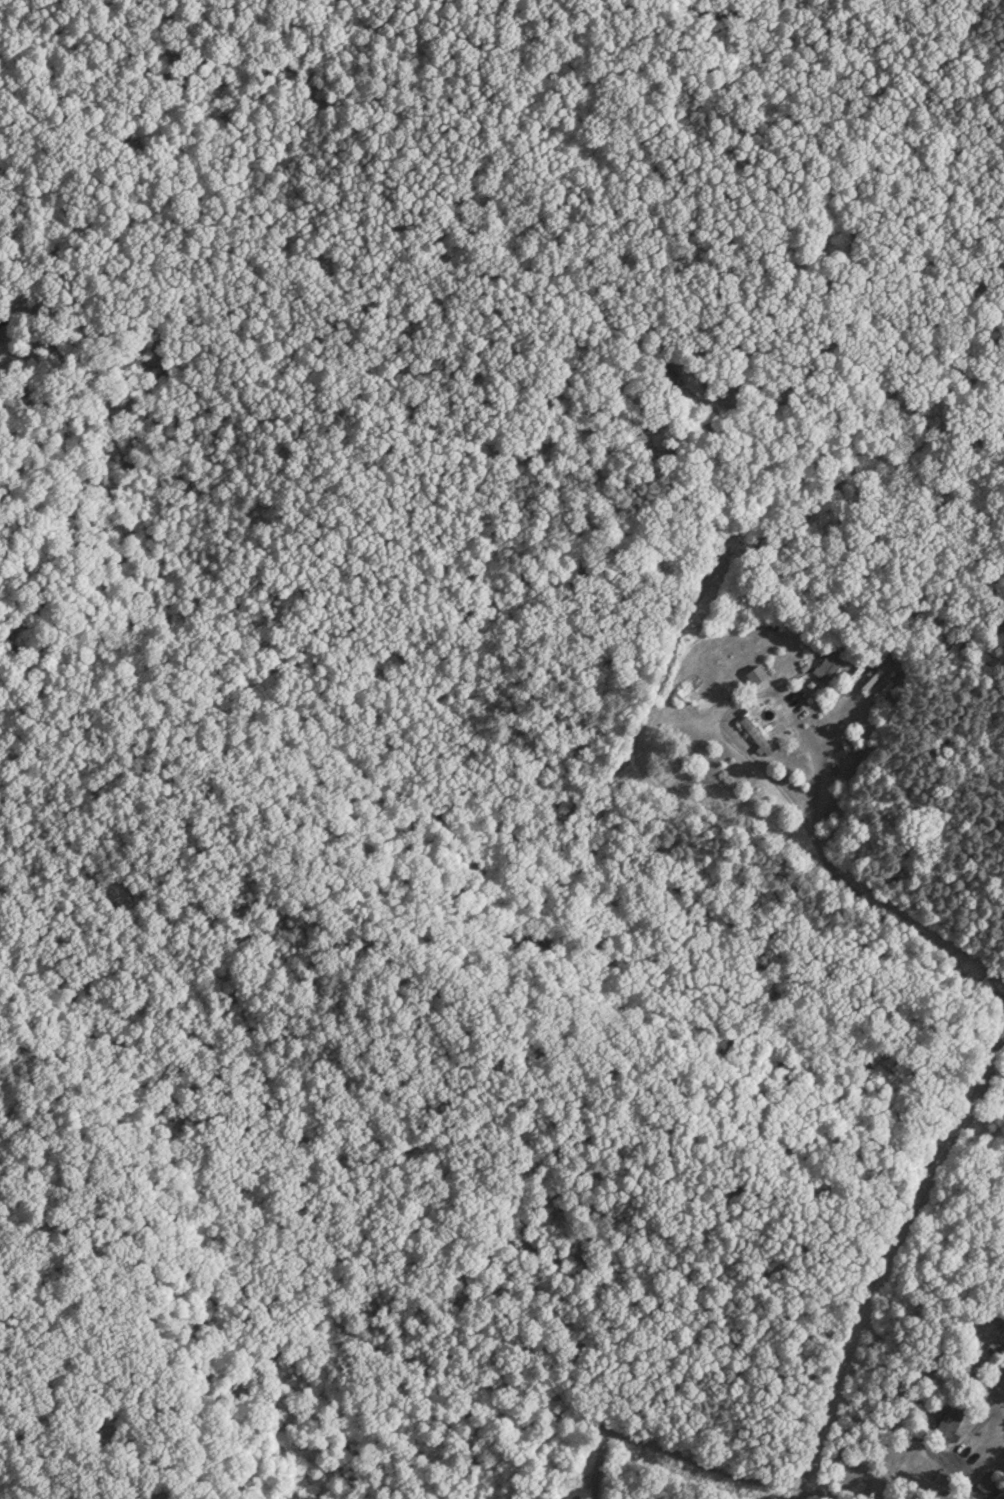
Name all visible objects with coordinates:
building: (832, 661)
building: (755, 670)
building: (755, 731)
road: (645, 751)
building: (997, 1344)
road: (539, 1401)
building: (949, 1420)
building: (898, 1448)

